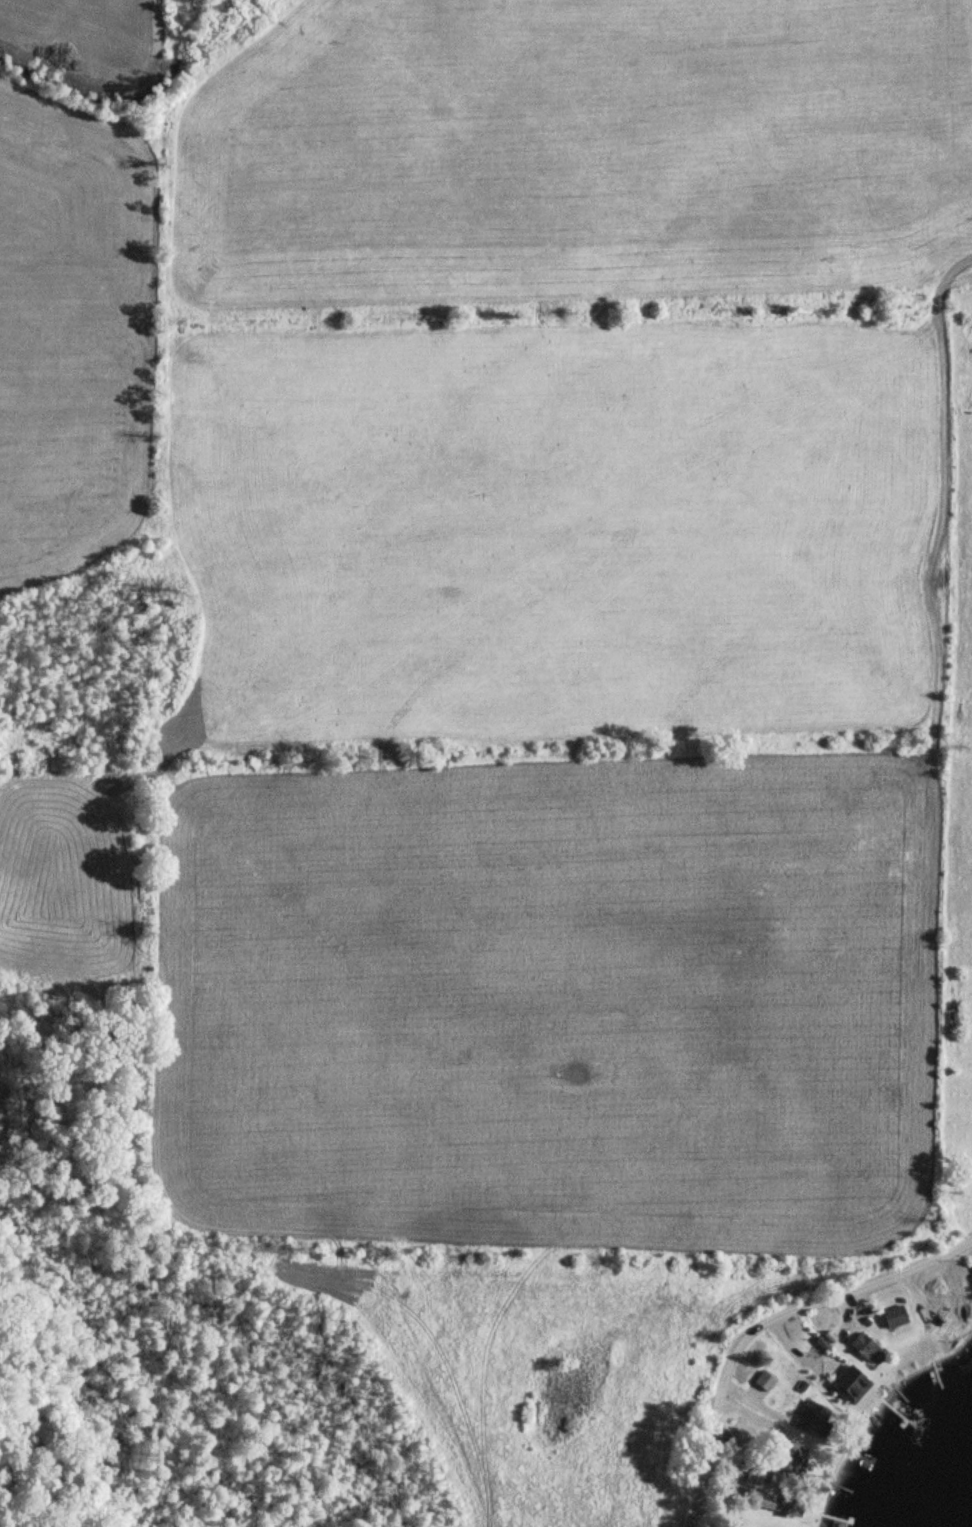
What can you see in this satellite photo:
building: (956, 1273)
building: (894, 1317)
road: (763, 1321)
building: (866, 1350)
building: (840, 1380)
building: (813, 1418)
building: (787, 1458)

